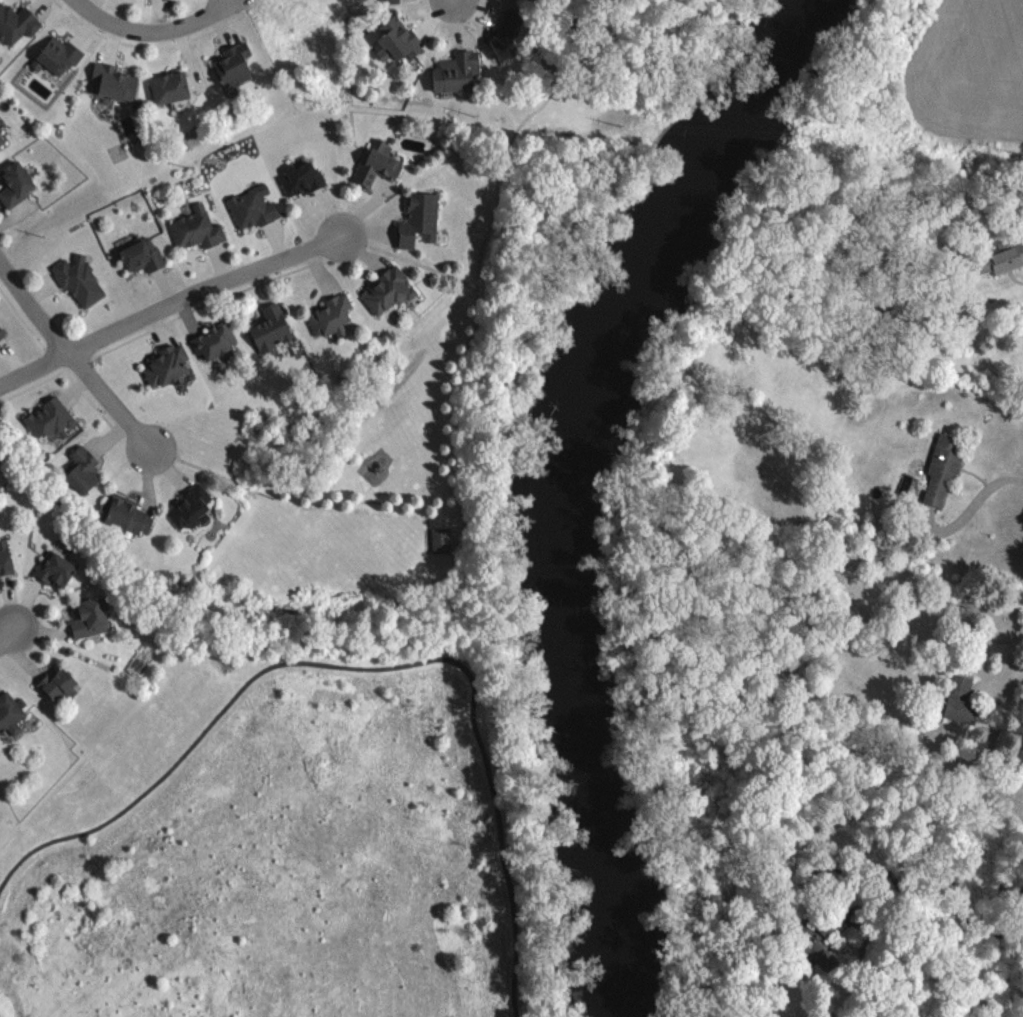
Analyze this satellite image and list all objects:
building: (391, 1)
road: (454, 1)
building: (18, 22)
road: (150, 28)
building: (508, 36)
building: (60, 56)
building: (236, 64)
building: (459, 71)
crop: (966, 73)
building: (116, 81)
building: (172, 87)
building: (2, 140)
building: (379, 164)
building: (305, 178)
building: (18, 183)
building: (256, 207)
building: (421, 219)
building: (199, 228)
road: (479, 254)
building: (145, 255)
building: (999, 255)
building: (82, 280)
building: (389, 290)
road: (206, 302)
road: (166, 306)
building: (333, 316)
road: (21, 318)
building: (273, 328)
building: (2, 332)
building: (217, 340)
road: (71, 360)
building: (169, 365)
road: (64, 367)
building: (53, 418)
road: (450, 418)
building: (0, 455)
building: (940, 465)
building: (85, 469)
river: (567, 479)
road: (287, 489)
building: (192, 508)
road: (964, 511)
building: (128, 513)
building: (439, 539)
building: (4, 556)
building: (53, 567)
road: (3, 584)
road: (47, 587)
road: (8, 599)
road: (25, 602)
building: (87, 616)
road: (64, 617)
road: (7, 624)
road: (41, 630)
road: (6, 633)
road: (982, 642)
road: (20, 657)
road: (368, 666)
road: (43, 667)
road: (995, 669)
building: (56, 684)
building: (957, 697)
building: (10, 711)
building: (822, 940)
road: (863, 970)

